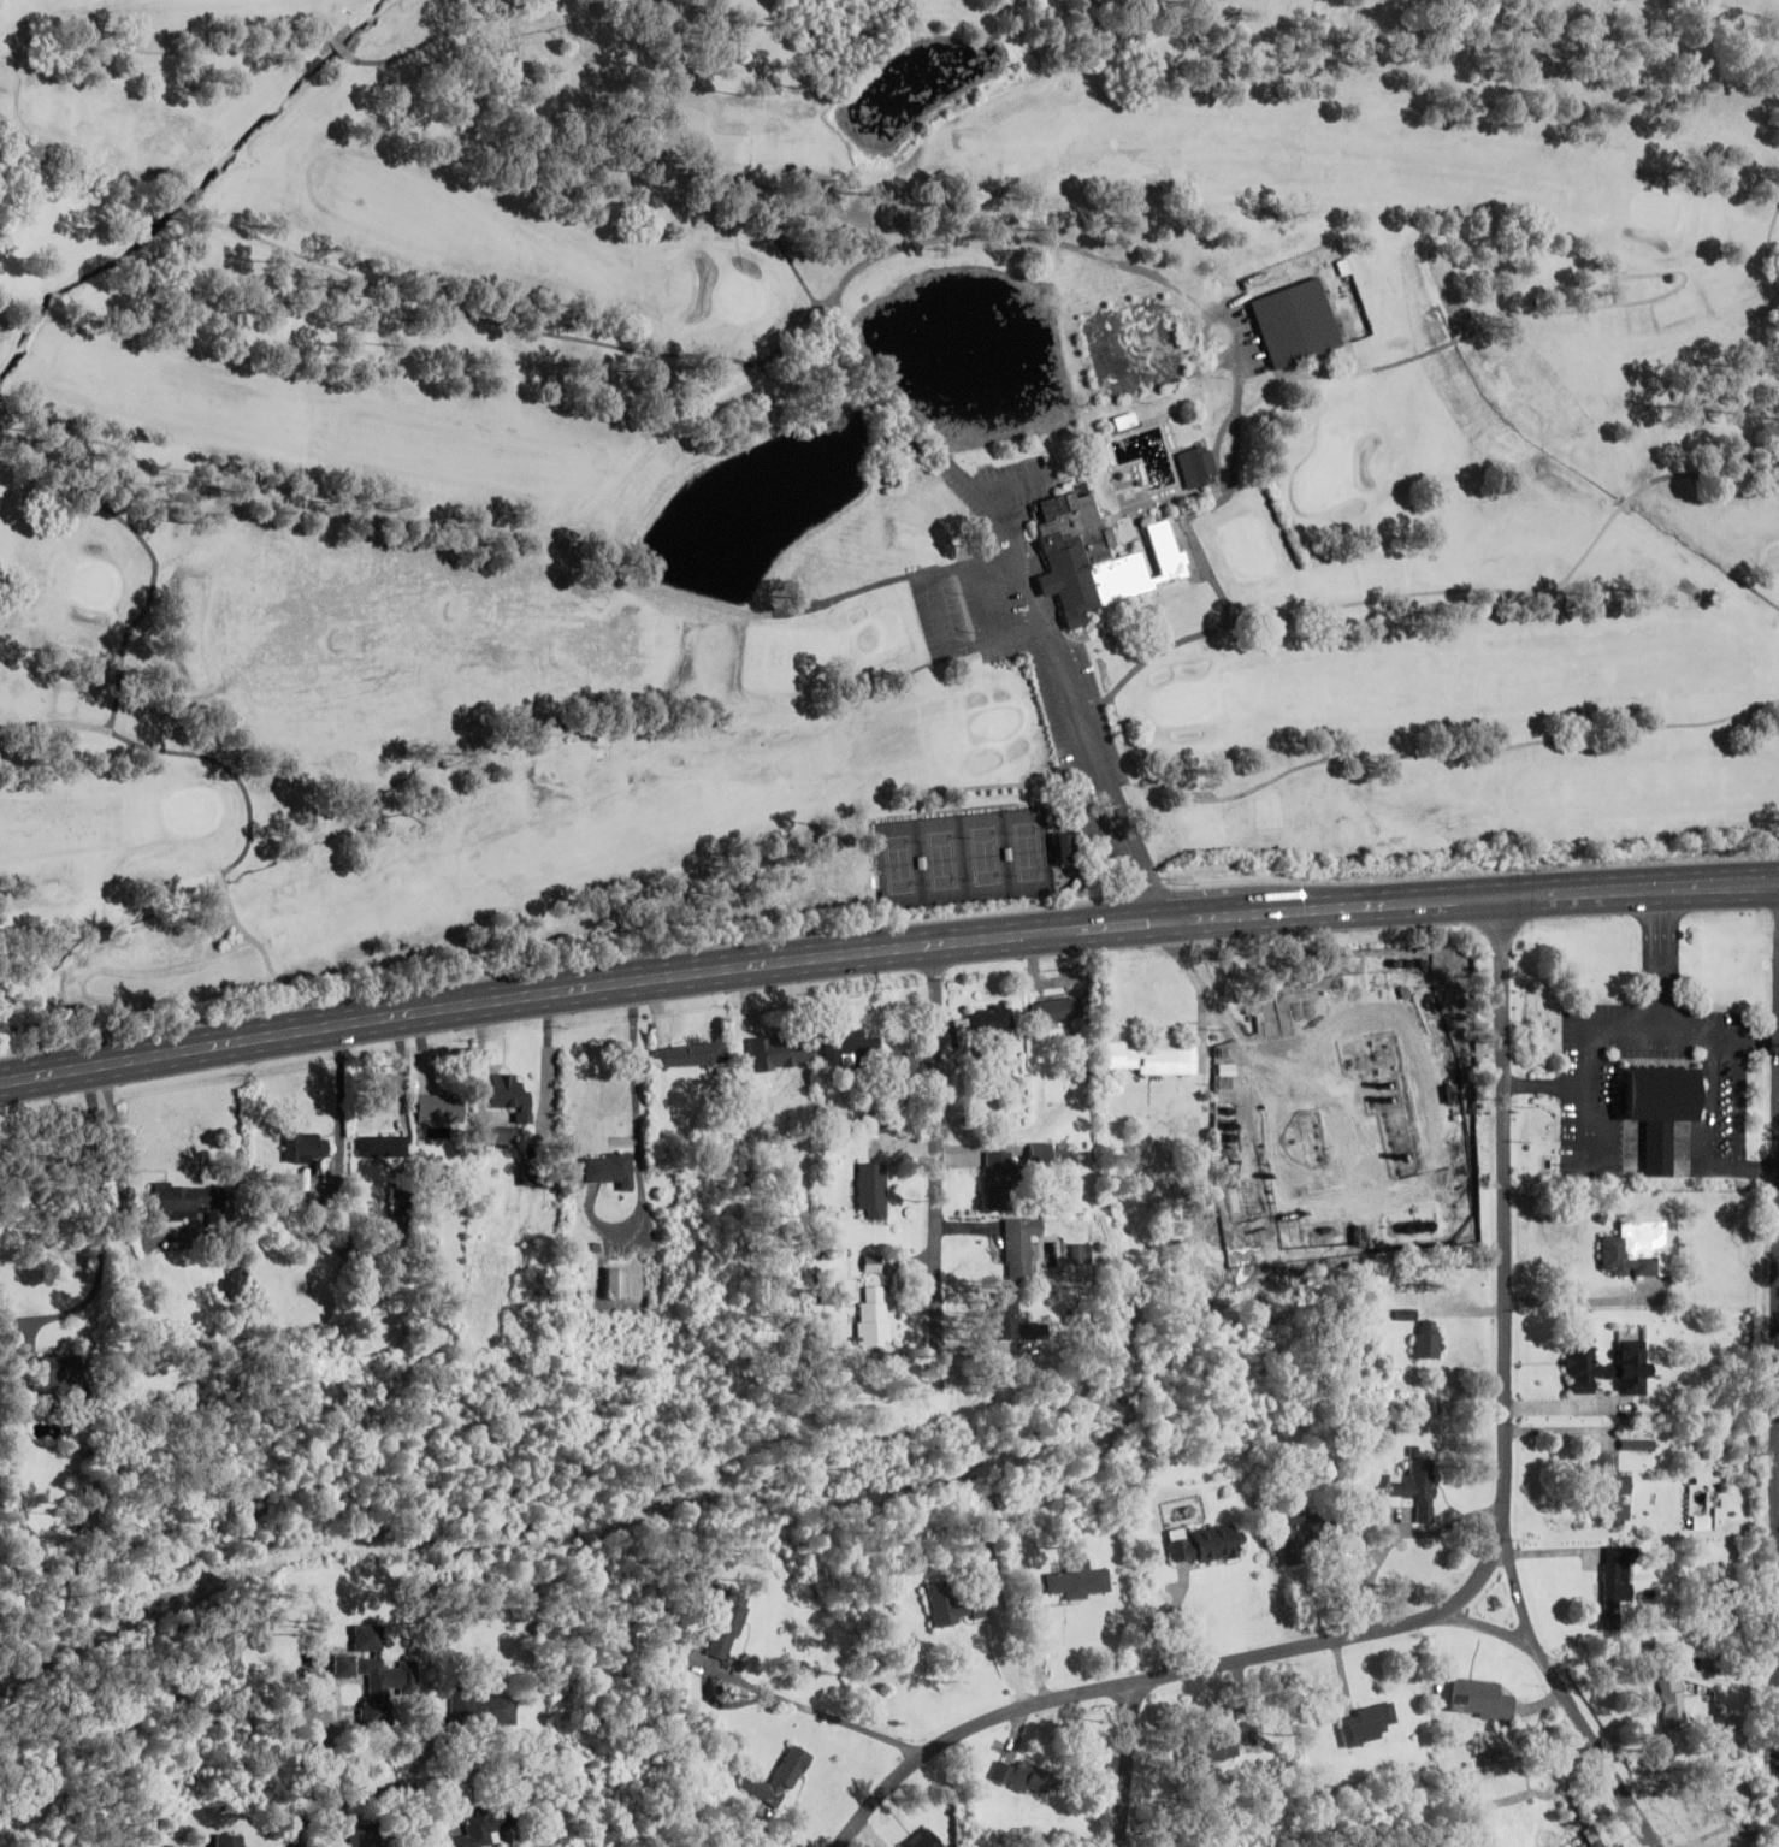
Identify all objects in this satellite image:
road: (922, 243)
building: (1293, 322)
park: (1133, 347)
building: (1125, 420)
park: (856, 464)
building: (1198, 466)
road: (1015, 480)
park: (1264, 534)
park: (1230, 551)
building: (1095, 557)
road: (988, 599)
road: (942, 612)
building: (1066, 848)
park: (964, 858)
road: (886, 947)
building: (1058, 1008)
building: (985, 1022)
building: (850, 1046)
building: (755, 1050)
building: (790, 1052)
building: (690, 1055)
building: (1151, 1059)
building: (512, 1095)
building: (441, 1108)
building: (1656, 1109)
building: (495, 1135)
building: (307, 1146)
building: (382, 1146)
building: (1041, 1153)
building: (610, 1168)
road: (939, 1173)
building: (998, 1179)
building: (871, 1189)
building: (189, 1202)
road: (113, 1226)
building: (1019, 1247)
building: (1635, 1249)
building: (1081, 1253)
building: (874, 1262)
building: (614, 1283)
road: (1464, 1312)
building: (873, 1316)
building: (1011, 1320)
building: (1428, 1339)
building: (1584, 1363)
building: (1633, 1366)
building: (55, 1375)
road: (1507, 1425)
building: (1415, 1486)
building: (1613, 1491)
road: (1778, 1523)
building: (1301, 1534)
building: (982, 1543)
building: (1206, 1544)
building: (1078, 1582)
road: (1517, 1596)
building: (954, 1604)
building: (1613, 1605)
building: (1725, 1605)
road: (1775, 1615)
building: (721, 1618)
road: (1483, 1627)
building: (376, 1673)
building: (1478, 1699)
building: (1671, 1700)
building: (483, 1710)
building: (1366, 1723)
road: (964, 1731)
road: (1595, 1747)
building: (1210, 1750)
road: (1127, 1765)
building: (778, 1778)
building: (1026, 1780)
road: (389, 1787)
building: (1706, 1806)
building: (481, 1827)
building: (367, 1836)
building: (230, 1840)
building: (920, 1840)

